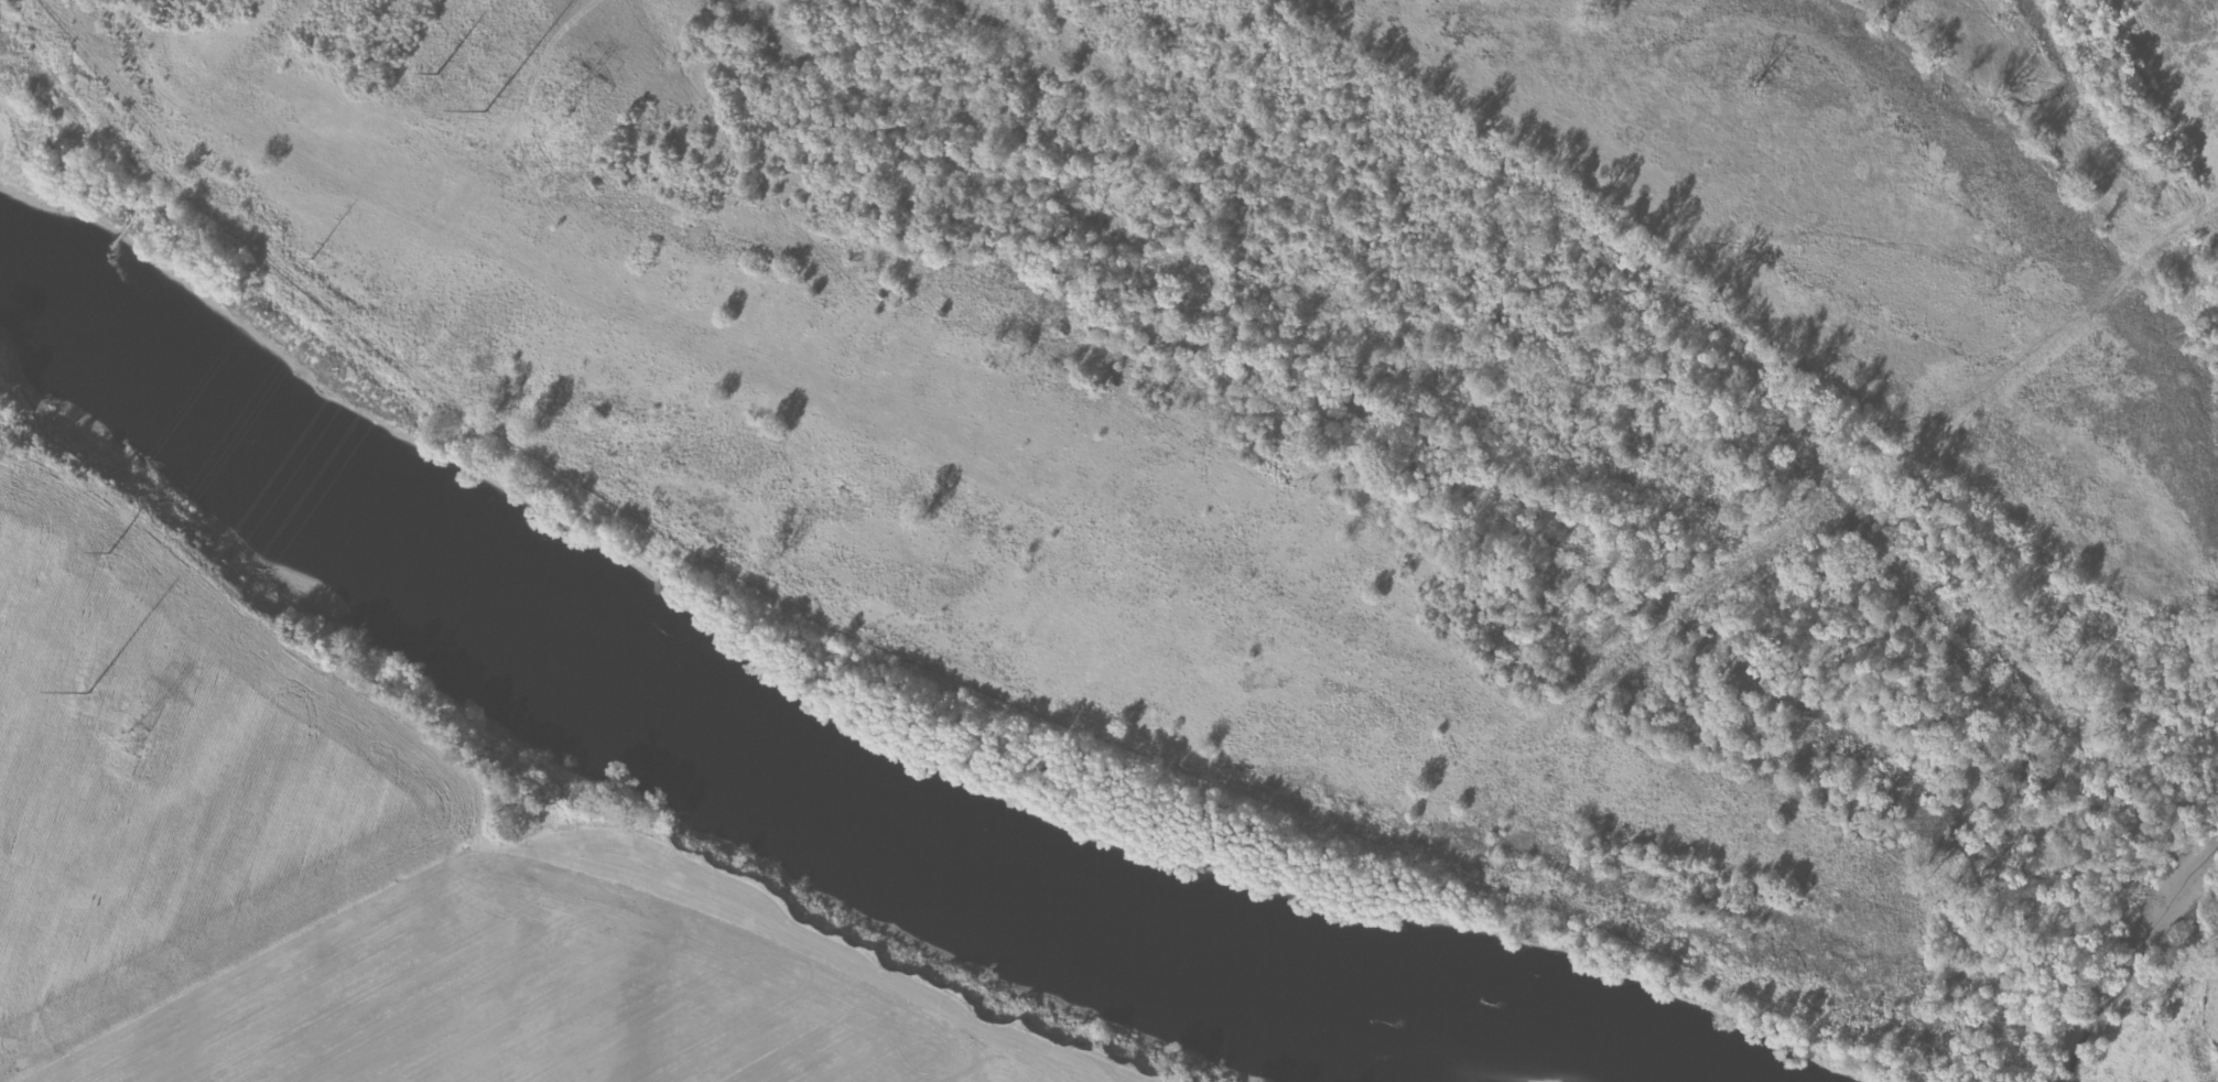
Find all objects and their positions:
power tower: (431, 80)
power tower: (485, 111)
power tower: (560, 118)
power tower: (33, 669)
power tower: (88, 691)
river: (724, 707)
power tower: (132, 740)

